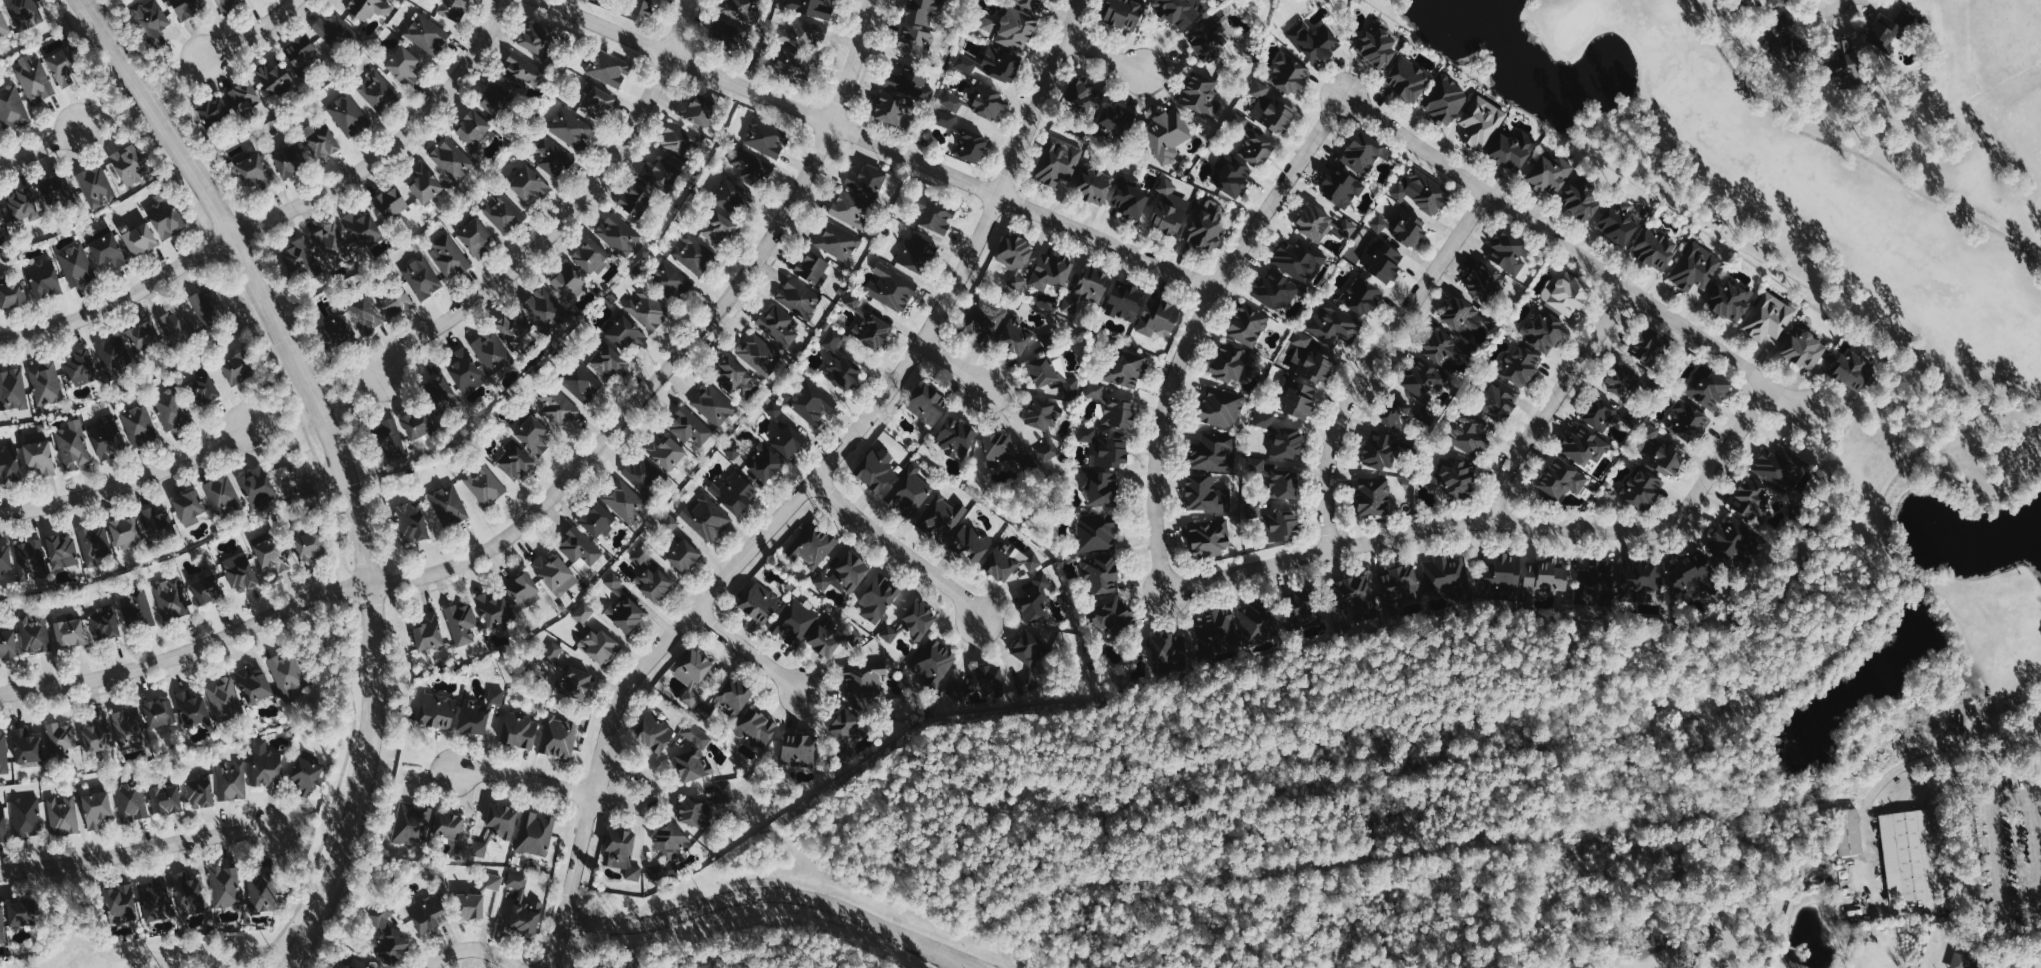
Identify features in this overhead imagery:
building: (1777, 3)
building: (1031, 4)
building: (225, 6)
building: (186, 7)
building: (369, 7)
building: (642, 7)
building: (451, 8)
building: (810, 8)
building: (738, 9)
building: (25, 10)
road: (1829, 10)
building: (921, 11)
building: (1179, 11)
building: (1123, 13)
building: (152, 20)
building: (988, 24)
building: (3, 25)
road: (680, 28)
building: (1016, 29)
building: (336, 31)
road: (254, 33)
building: (427, 34)
building: (728, 35)
building: (1884, 35)
building: (1208, 37)
building: (533, 39)
building: (1313, 41)
building: (1784, 41)
building: (915, 43)
building: (796, 48)
building: (1377, 48)
building: (301, 52)
road: (1108, 53)
building: (1844, 62)
building: (403, 64)
building: (965, 64)
building: (1003, 66)
building: (60, 67)
building: (608, 67)
building: (523, 72)
building: (1289, 74)
building: (34, 78)
building: (274, 79)
building: (1407, 80)
building: (910, 85)
building: (377, 91)
building: (242, 96)
building: (1201, 96)
building: (1088, 98)
building: (497, 99)
building: (1445, 99)
building: (597, 101)
building: (952, 101)
building: (987, 101)
building: (12, 107)
building: (890, 108)
building: (1270, 109)
building: (212, 110)
building: (695, 110)
building: (348, 114)
building: (945, 119)
building: (1117, 121)
building: (1239, 121)
building: (1481, 122)
building: (472, 128)
building: (571, 128)
building: (1167, 135)
building: (765, 138)
building: (320, 139)
building: (678, 140)
road: (879, 145)
road: (40, 146)
building: (970, 146)
building: (1256, 149)
building: (1510, 150)
building: (1364, 153)
building: (552, 156)
building: (452, 159)
building: (289, 160)
building: (1060, 161)
building: (128, 166)
building: (751, 167)
building: (253, 172)
building: (659, 173)
building: (1550, 174)
building: (1233, 178)
building: (866, 181)
building: (424, 183)
building: (529, 184)
building: (1093, 184)
building: (95, 185)
building: (1342, 188)
building: (56, 191)
building: (1422, 191)
building: (731, 197)
building: (1128, 197)
building: (634, 201)
building: (1580, 201)
building: (390, 203)
building: (22, 205)
building: (851, 209)
building: (1168, 209)
road: (284, 211)
building: (502, 212)
building: (931, 214)
building: (164, 216)
building: (1619, 221)
building: (1313, 223)
building: (1379, 224)
building: (1205, 225)
building: (718, 227)
building: (362, 229)
building: (1409, 229)
building: (618, 233)
road: (549, 236)
building: (475, 237)
building: (139, 239)
building: (837, 241)
building: (332, 244)
building: (1655, 249)
building: (107, 251)
building: (1509, 252)
building: (693, 253)
building: (917, 254)
building: (450, 256)
building: (591, 256)
building: (1015, 258)
building: (302, 260)
building: (1298, 260)
building: (76, 264)
building: (1695, 267)
building: (812, 269)
building: (1050, 271)
road: (1224, 276)
building: (422, 277)
road: (1617, 278)
building: (43, 279)
building: (671, 280)
building: (568, 282)
building: (1483, 282)
building: (891, 288)
building: (1276, 290)
building: (1086, 291)
building: (12, 294)
building: (1567, 295)
building: (1361, 297)
building: (799, 298)
building: (1730, 300)
building: (396, 302)
building: (1124, 302)
building: (208, 306)
building: (545, 307)
building: (647, 308)
building: (365, 312)
building: (1157, 317)
building: (1462, 318)
building: (1771, 319)
building: (985, 322)
building: (176, 324)
building: (1334, 324)
building: (778, 325)
building: (867, 325)
building: (1248, 325)
building: (515, 326)
building: (337, 331)
building: (625, 334)
building: (1015, 335)
building: (142, 336)
building: (1302, 339)
building: (1645, 347)
building: (1441, 349)
building: (1532, 349)
building: (1804, 349)
building: (492, 352)
building: (759, 354)
building: (113, 355)
road: (1375, 359)
building: (606, 360)
building: (839, 363)
building: (1229, 363)
road: (956, 365)
building: (1312, 366)
building: (236, 368)
building: (1125, 370)
building: (80, 371)
building: (465, 371)
building: (1854, 371)
building: (731, 374)
building: (1053, 377)
building: (1422, 378)
building: (1622, 381)
building: (45, 382)
building: (581, 382)
building: (1284, 384)
building: (1707, 387)
building: (202, 388)
building: (12, 390)
building: (441, 393)
road: (1553, 397)
building: (1498, 400)
building: (812, 402)
building: (1299, 402)
building: (713, 404)
building: (928, 404)
building: (558, 407)
building: (1221, 407)
building: (1112, 408)
building: (170, 409)
building: (774, 409)
building: (1042, 414)
building: (1400, 415)
building: (1600, 415)
building: (1265, 420)
building: (416, 423)
building: (1688, 423)
building: (139, 425)
building: (690, 427)
building: (1650, 432)
building: (1469, 433)
building: (1087, 434)
building: (532, 435)
building: (955, 438)
building: (107, 439)
building: (787, 441)
building: (1288, 443)
building: (391, 444)
building: (73, 445)
building: (998, 446)
building: (1048, 448)
building: (731, 450)
building: (1379, 450)
building: (664, 451)
building: (1110, 453)
building: (1213, 453)
building: (39, 457)
building: (1665, 459)
road: (339, 461)
building: (515, 461)
building: (764, 463)
building: (9, 464)
building: (1258, 466)
building: (1779, 467)
building: (876, 469)
building: (1007, 470)
building: (641, 472)
building: (1453, 479)
building: (1562, 479)
road: (127, 480)
building: (484, 485)
building: (1283, 485)
road: (807, 486)
building: (257, 488)
building: (1100, 488)
building: (1642, 489)
building: (909, 492)
building: (733, 493)
building: (222, 494)
road: (552, 494)
building: (1205, 495)
building: (1373, 498)
building: (1749, 498)
building: (625, 501)
building: (449, 504)
building: (188, 507)
building: (1254, 511)
building: (707, 518)
road: (1512, 518)
building: (596, 520)
building: (411, 522)
building: (157, 524)
building: (670, 524)
building: (1282, 526)
building: (937, 529)
building: (125, 532)
building: (1096, 532)
building: (1208, 538)
building: (1729, 541)
building: (94, 544)
building: (308, 546)
building: (580, 547)
building: (814, 548)
road: (896, 549)
building: (61, 550)
building: (271, 555)
building: (641, 555)
building: (683, 556)
building: (4, 558)
building: (30, 559)
building: (1009, 561)
building: (1690, 571)
building: (240, 572)
building: (1100, 573)
building: (552, 574)
building: (1502, 574)
building: (844, 575)
building: (1448, 575)
building: (1638, 576)
building: (1545, 579)
building: (1598, 581)
building: (653, 584)
building: (1400, 586)
building: (206, 590)
building: (524, 590)
building: (1352, 592)
building: (171, 599)
building: (878, 599)
building: (1035, 601)
building: (760, 603)
building: (622, 607)
building: (137, 609)
building: (493, 609)
building: (583, 613)
building: (1302, 613)
building: (1110, 619)
building: (919, 621)
building: (795, 622)
building: (1260, 622)
building: (462, 623)
building: (103, 624)
building: (1218, 630)
building: (427, 632)
building: (34, 633)
building: (69, 633)
building: (889, 634)
building: (833, 638)
building: (7, 644)
road: (620, 645)
building: (598, 646)
building: (1172, 648)
road: (746, 651)
building: (552, 652)
building: (1032, 661)
building: (932, 662)
building: (288, 674)
building: (692, 675)
building: (988, 678)
building: (863, 680)
building: (574, 684)
building: (253, 685)
building: (496, 695)
building: (733, 697)
building: (225, 699)
building: (191, 709)
building: (435, 711)
building: (159, 713)
building: (473, 717)
building: (846, 726)
building: (129, 728)
building: (756, 728)
building: (518, 731)
building: (653, 733)
building: (97, 735)
building: (696, 735)
building: (559, 737)
building: (60, 739)
building: (25, 746)
building: (798, 750)
building: (3, 753)
building: (691, 765)
building: (265, 766)
building: (305, 777)
building: (231, 781)
road: (337, 784)
building: (200, 792)
road: (2016, 792)
building: (725, 793)
road: (592, 796)
building: (165, 800)
building: (132, 802)
building: (95, 809)
building: (693, 811)
building: (63, 815)
building: (25, 817)
building: (2, 824)
building: (412, 825)
building: (448, 826)
building: (497, 828)
road: (1960, 829)
building: (1849, 832)
building: (535, 834)
building: (671, 841)
road: (2034, 847)
road: (137, 850)
building: (621, 853)
road: (1869, 853)
building: (1910, 854)
road: (1999, 865)
building: (494, 882)
building: (225, 887)
building: (262, 892)
road: (772, 894)
building: (188, 895)
building: (154, 900)
building: (120, 904)
building: (469, 906)
building: (523, 906)
building: (426, 913)
building: (19, 914)
building: (1, 925)
building: (386, 937)
road: (475, 949)
road: (145, 955)
road: (199, 962)

